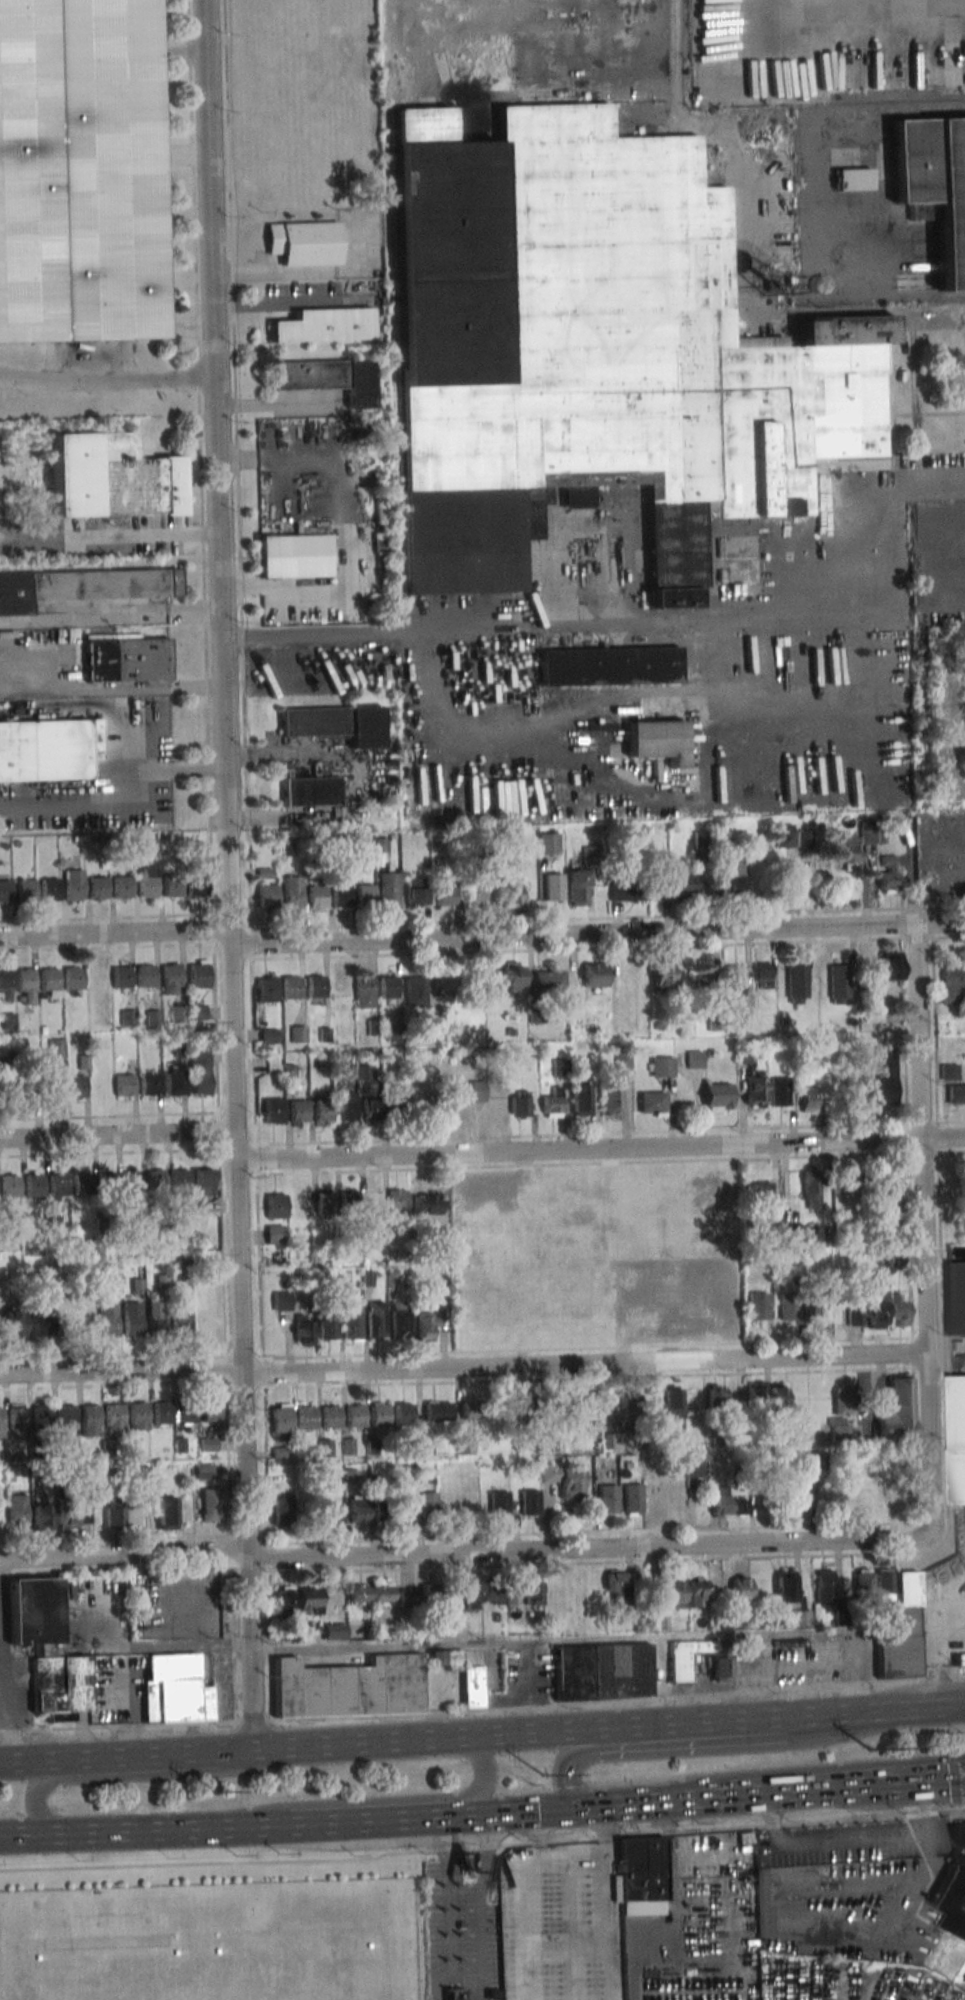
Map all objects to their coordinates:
road: (807, 3)
road: (554, 89)
road: (819, 147)
road: (752, 162)
building: (78, 171)
building: (853, 179)
building: (935, 183)
building: (304, 242)
building: (775, 284)
road: (901, 298)
building: (324, 325)
building: (594, 351)
road: (106, 378)
building: (327, 378)
building: (111, 477)
building: (294, 555)
building: (84, 587)
road: (109, 616)
road: (559, 630)
building: (127, 660)
building: (608, 666)
building: (335, 724)
building: (656, 740)
building: (49, 749)
road: (214, 768)
building: (311, 791)
road: (117, 802)
building: (867, 836)
building: (721, 837)
building: (547, 843)
building: (701, 843)
building: (142, 845)
building: (846, 851)
building: (887, 874)
road: (225, 875)
building: (734, 881)
building: (147, 882)
building: (196, 883)
building: (681, 883)
building: (659, 884)
building: (73, 885)
building: (171, 886)
building: (122, 887)
building: (553, 887)
building: (98, 888)
building: (577, 888)
building: (25, 889)
building: (50, 889)
building: (389, 890)
building: (5, 891)
building: (414, 891)
building: (481, 891)
building: (628, 891)
building: (292, 893)
building: (365, 894)
building: (511, 895)
building: (341, 896)
building: (267, 897)
building: (444, 897)
building: (317, 898)
road: (481, 944)
building: (889, 965)
building: (663, 973)
building: (199, 974)
building: (594, 975)
building: (762, 975)
building: (146, 976)
building: (121, 977)
building: (706, 977)
building: (73, 978)
building: (171, 978)
building: (473, 978)
building: (513, 978)
building: (736, 979)
building: (49, 981)
building: (548, 981)
road: (913, 982)
building: (796, 983)
building: (838, 984)
building: (951, 984)
building: (5, 985)
building: (440, 985)
building: (25, 986)
building: (291, 987)
building: (388, 987)
building: (316, 988)
building: (266, 989)
building: (364, 991)
building: (415, 991)
building: (198, 1012)
building: (178, 1013)
building: (127, 1017)
building: (435, 1022)
building: (298, 1034)
building: (270, 1036)
building: (57, 1047)
building: (694, 1059)
building: (560, 1067)
building: (662, 1067)
building: (338, 1068)
building: (200, 1071)
building: (949, 1072)
building: (880, 1079)
building: (173, 1082)
building: (125, 1084)
building: (148, 1084)
building: (53, 1087)
building: (76, 1087)
building: (755, 1089)
building: (477, 1091)
building: (780, 1091)
building: (456, 1092)
building: (956, 1094)
building: (612, 1097)
building: (717, 1097)
building: (581, 1099)
building: (808, 1099)
building: (652, 1103)
building: (420, 1104)
building: (553, 1104)
building: (520, 1105)
building: (347, 1106)
building: (373, 1108)
building: (274, 1110)
building: (323, 1110)
building: (298, 1111)
road: (116, 1138)
road: (599, 1152)
building: (155, 1179)
building: (854, 1179)
building: (131, 1181)
building: (204, 1182)
building: (811, 1182)
building: (879, 1182)
building: (34, 1184)
building: (58, 1184)
building: (106, 1184)
building: (82, 1185)
building: (179, 1185)
building: (10, 1186)
building: (759, 1192)
building: (397, 1200)
building: (373, 1201)
building: (325, 1202)
building: (349, 1202)
building: (427, 1204)
building: (275, 1205)
building: (54, 1224)
building: (78, 1227)
building: (782, 1233)
building: (274, 1234)
building: (956, 1298)
building: (282, 1301)
building: (877, 1303)
building: (758, 1306)
building: (789, 1307)
building: (817, 1309)
building: (898, 1310)
building: (154, 1316)
building: (855, 1316)
building: (108, 1318)
building: (131, 1318)
building: (375, 1320)
building: (180, 1322)
building: (352, 1322)
building: (401, 1324)
building: (12, 1325)
building: (427, 1325)
building: (40, 1326)
building: (328, 1328)
building: (304, 1329)
road: (464, 1369)
building: (755, 1391)
building: (715, 1395)
building: (777, 1398)
building: (670, 1404)
building: (629, 1405)
building: (530, 1407)
building: (571, 1408)
building: (475, 1409)
building: (897, 1410)
building: (210, 1411)
building: (437, 1411)
building: (162, 1412)
building: (841, 1412)
building: (379, 1414)
building: (403, 1414)
building: (41, 1415)
building: (65, 1415)
building: (138, 1415)
building: (354, 1415)
building: (330, 1416)
building: (17, 1417)
building: (281, 1417)
building: (307, 1417)
building: (113, 1418)
building: (89, 1420)
building: (1, 1423)
building: (958, 1437)
building: (208, 1444)
building: (134, 1446)
building: (693, 1469)
building: (203, 1471)
building: (140, 1476)
building: (566, 1480)
building: (605, 1497)
building: (632, 1498)
building: (427, 1501)
building: (839, 1501)
building: (881, 1501)
building: (529, 1502)
building: (862, 1502)
building: (498, 1503)
building: (799, 1503)
building: (209, 1505)
building: (718, 1505)
building: (738, 1506)
building: (357, 1508)
building: (406, 1508)
building: (282, 1510)
building: (164, 1512)
building: (28, 1513)
building: (330, 1513)
building: (114, 1515)
building: (72, 1516)
road: (463, 1551)
building: (614, 1580)
building: (862, 1584)
building: (883, 1585)
building: (824, 1586)
building: (784, 1589)
building: (697, 1591)
building: (491, 1592)
building: (533, 1592)
building: (357, 1593)
building: (513, 1593)
building: (675, 1593)
building: (740, 1593)
building: (383, 1594)
building: (429, 1595)
building: (469, 1595)
building: (405, 1597)
building: (283, 1600)
building: (309, 1600)
building: (800, 1618)
building: (334, 1631)
building: (901, 1632)
road: (403, 1645)
road: (160, 1648)
building: (46, 1649)
road: (942, 1651)
building: (684, 1658)
building: (444, 1659)
building: (959, 1659)
building: (719, 1668)
building: (601, 1671)
building: (348, 1687)
building: (472, 1687)
building: (176, 1688)
road: (7, 1692)
road: (919, 1708)
road: (482, 1710)
road: (737, 1719)
road: (400, 1740)
road: (715, 1745)
power tower: (868, 1749)
road: (128, 1757)
road: (27, 1761)
road: (808, 1769)
road: (132, 1776)
power tower: (545, 1777)
road: (956, 1778)
road: (847, 1787)
power tower: (205, 1794)
road: (381, 1800)
road: (602, 1805)
traffic signals: (573, 1808)
road: (921, 1808)
road: (382, 1821)
road: (601, 1824)
road: (540, 1828)
road: (153, 1830)
road: (846, 1844)
road: (482, 1846)
building: (640, 1876)
building: (954, 1885)
road: (449, 1903)
road: (478, 1905)
road: (527, 1915)
road: (607, 1921)
road: (786, 1931)
building: (207, 1963)
storage tank: (207, 1963)
building: (454, 1994)

